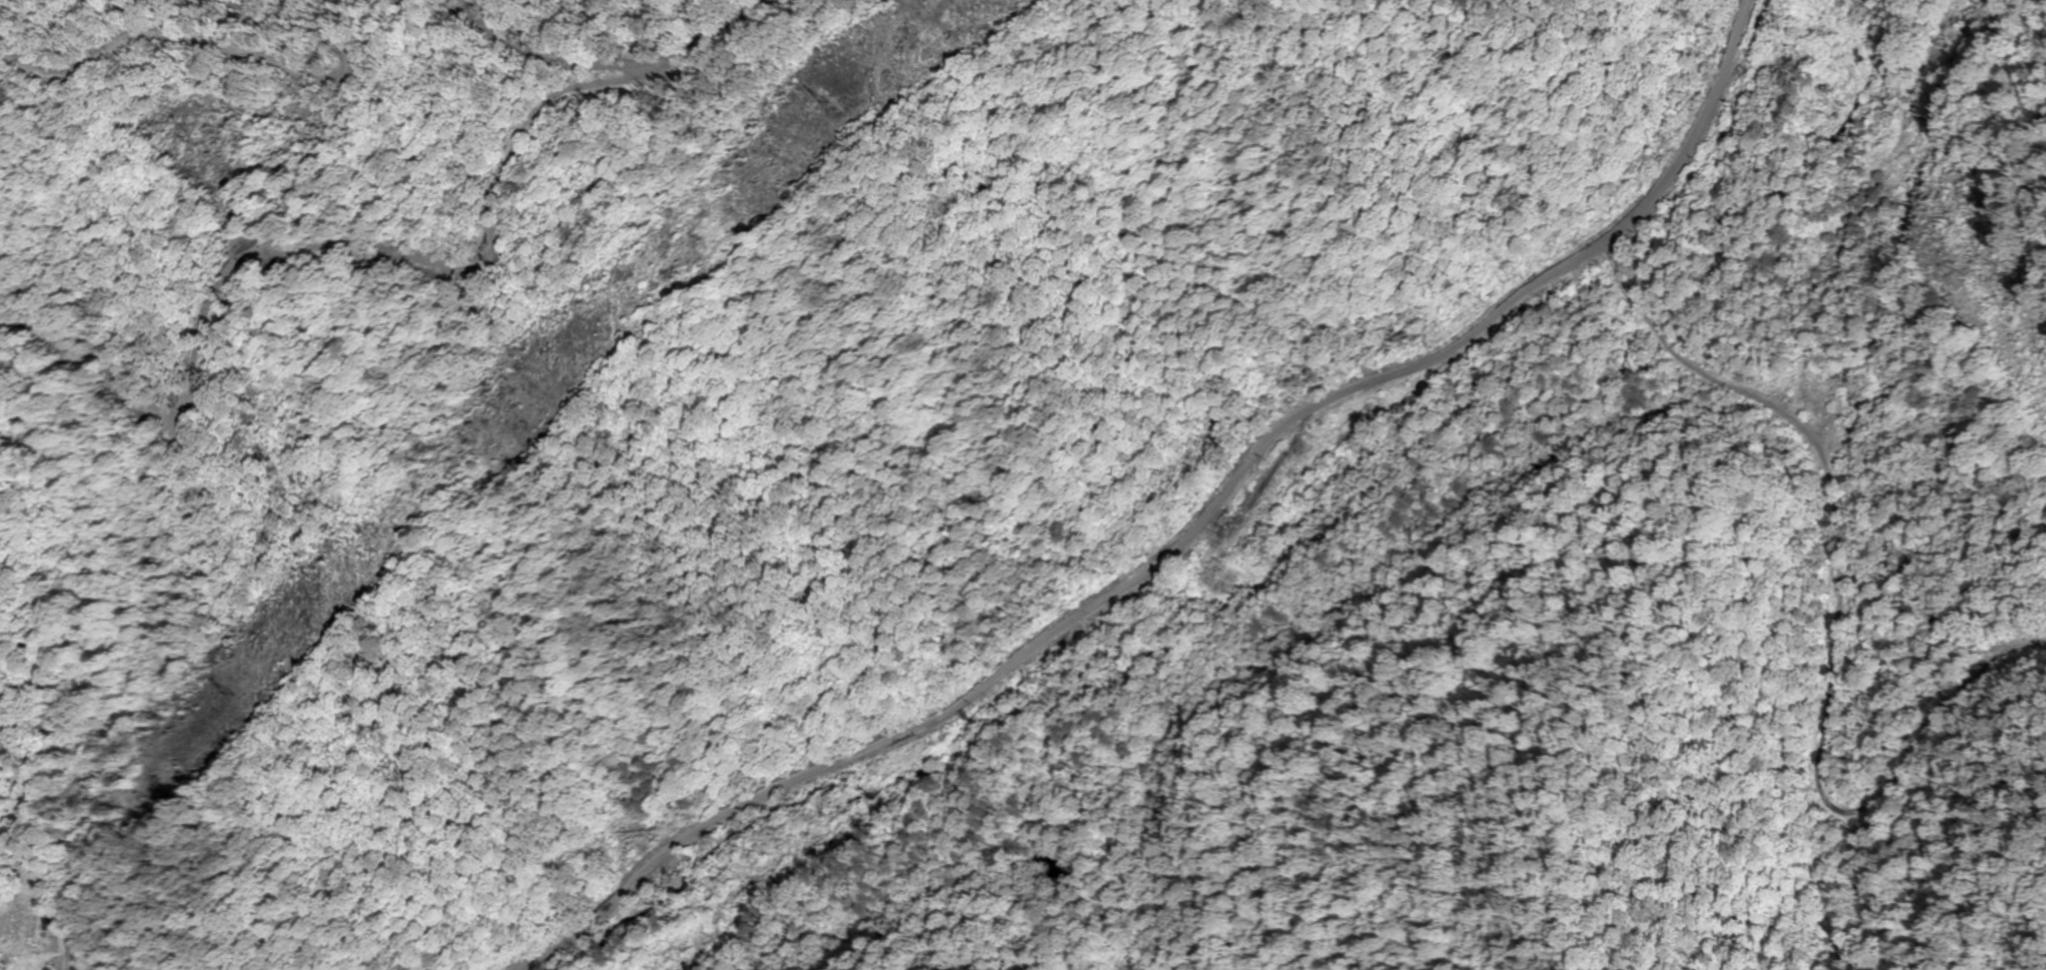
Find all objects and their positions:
road: (503, 35)
power tower: (805, 103)
road: (1184, 534)
power tower: (214, 688)
building: (40, 920)

